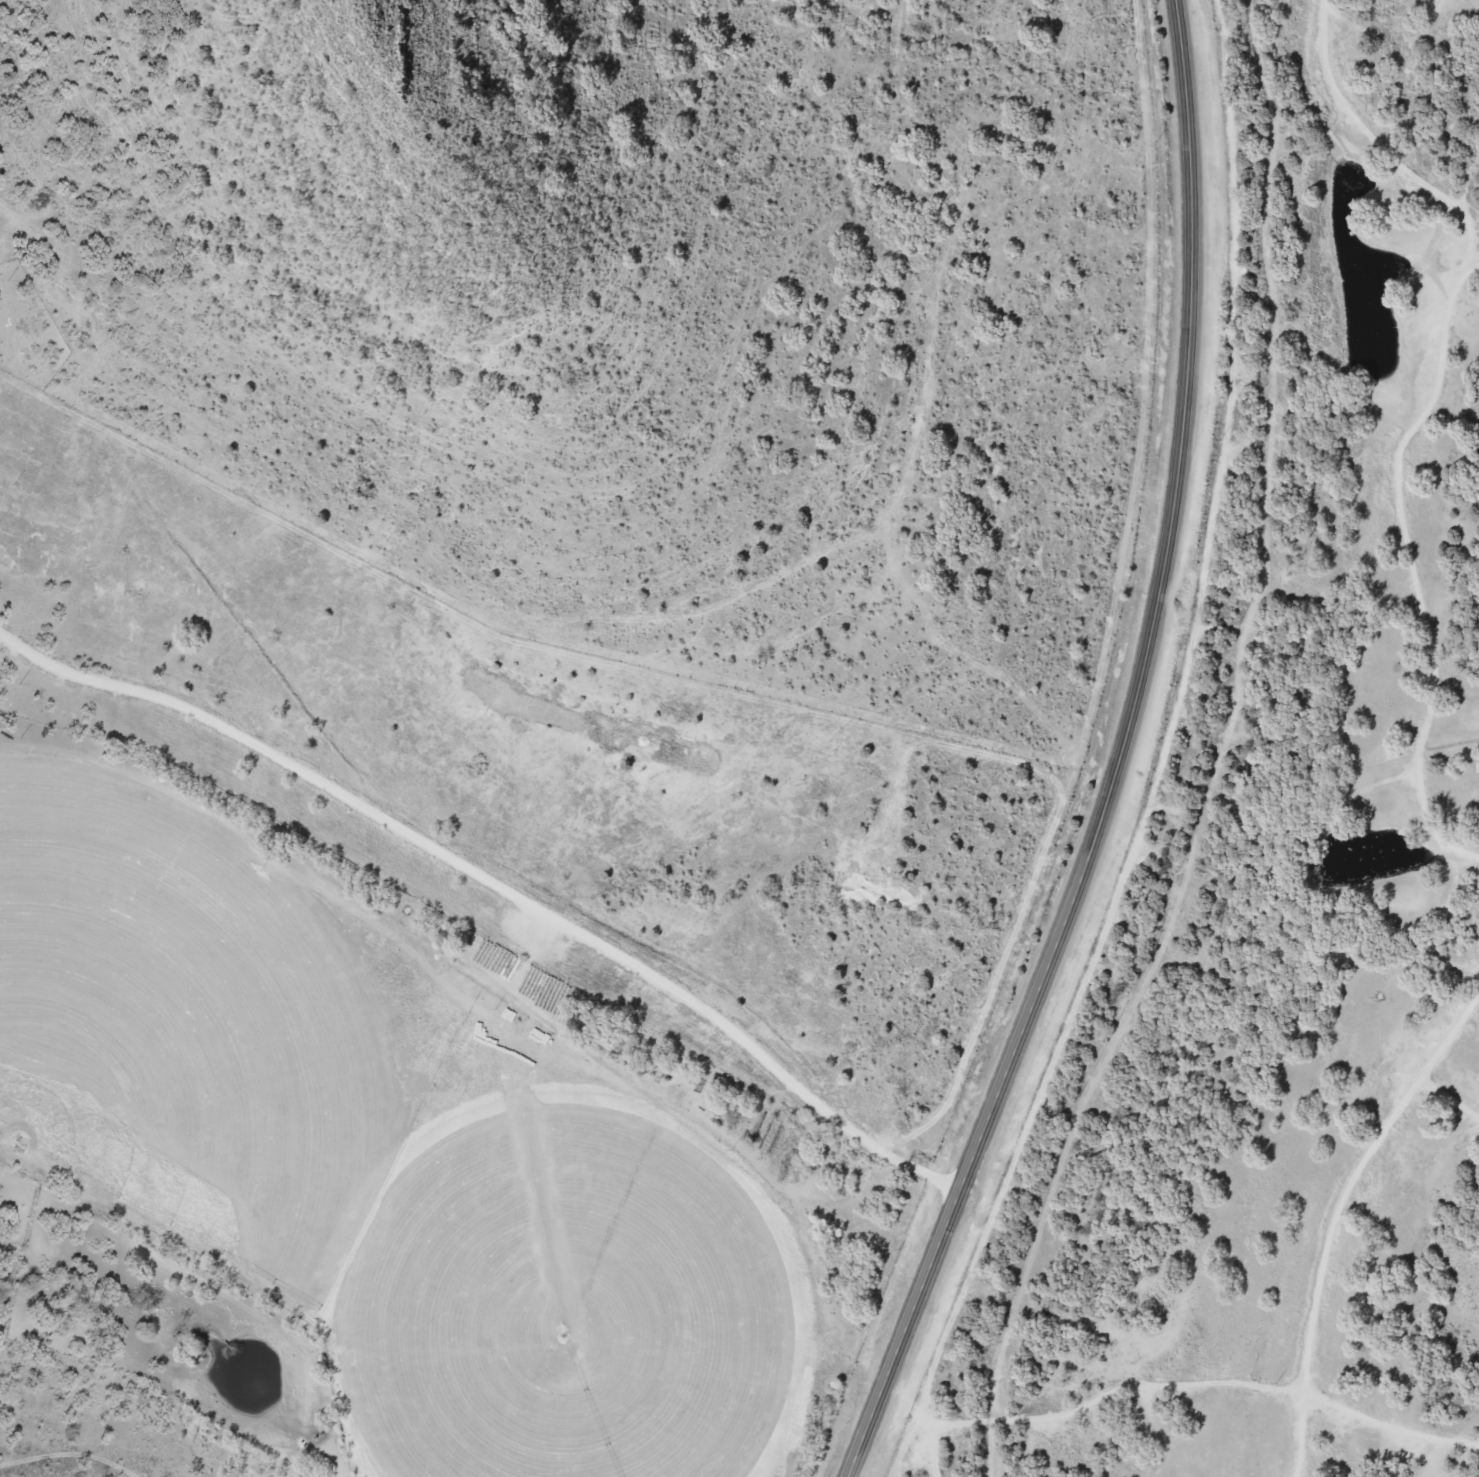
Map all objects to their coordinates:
road: (1119, 757)
road: (474, 917)

